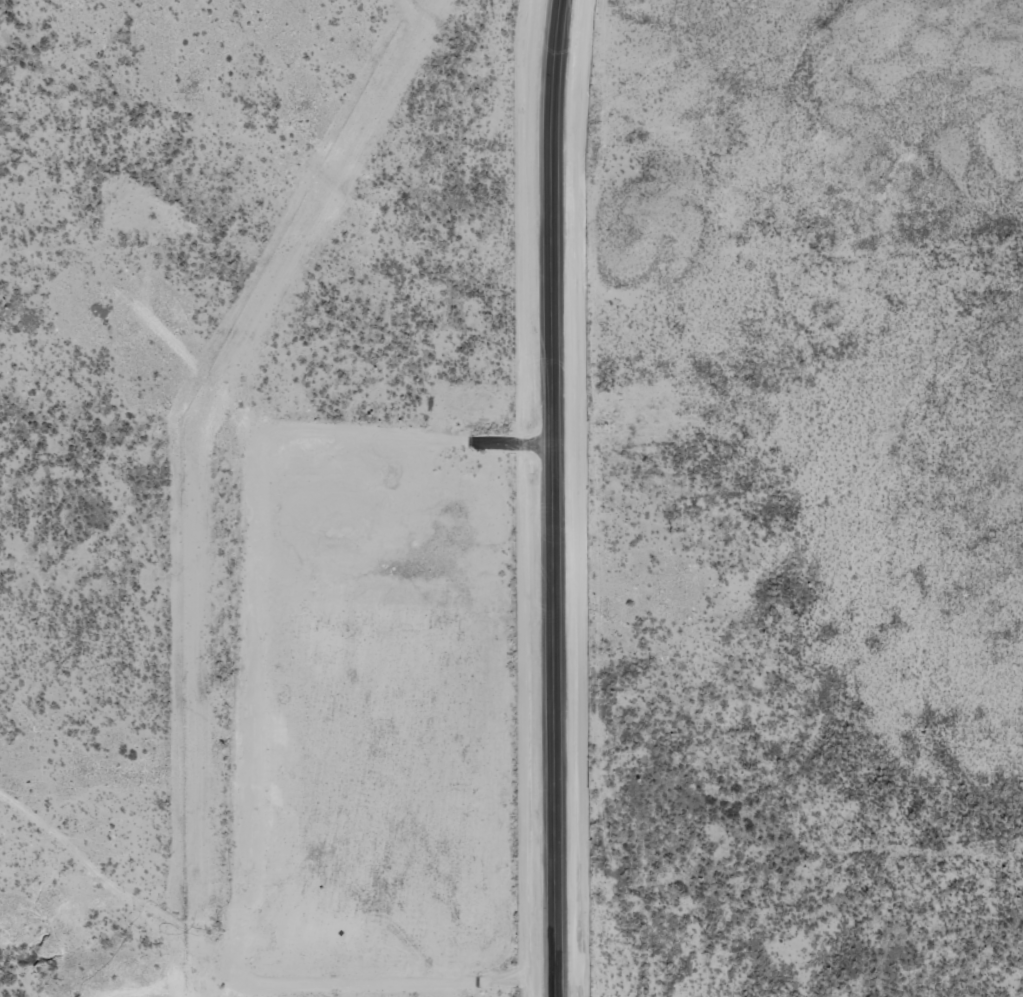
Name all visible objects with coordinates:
road: (557, 498)

